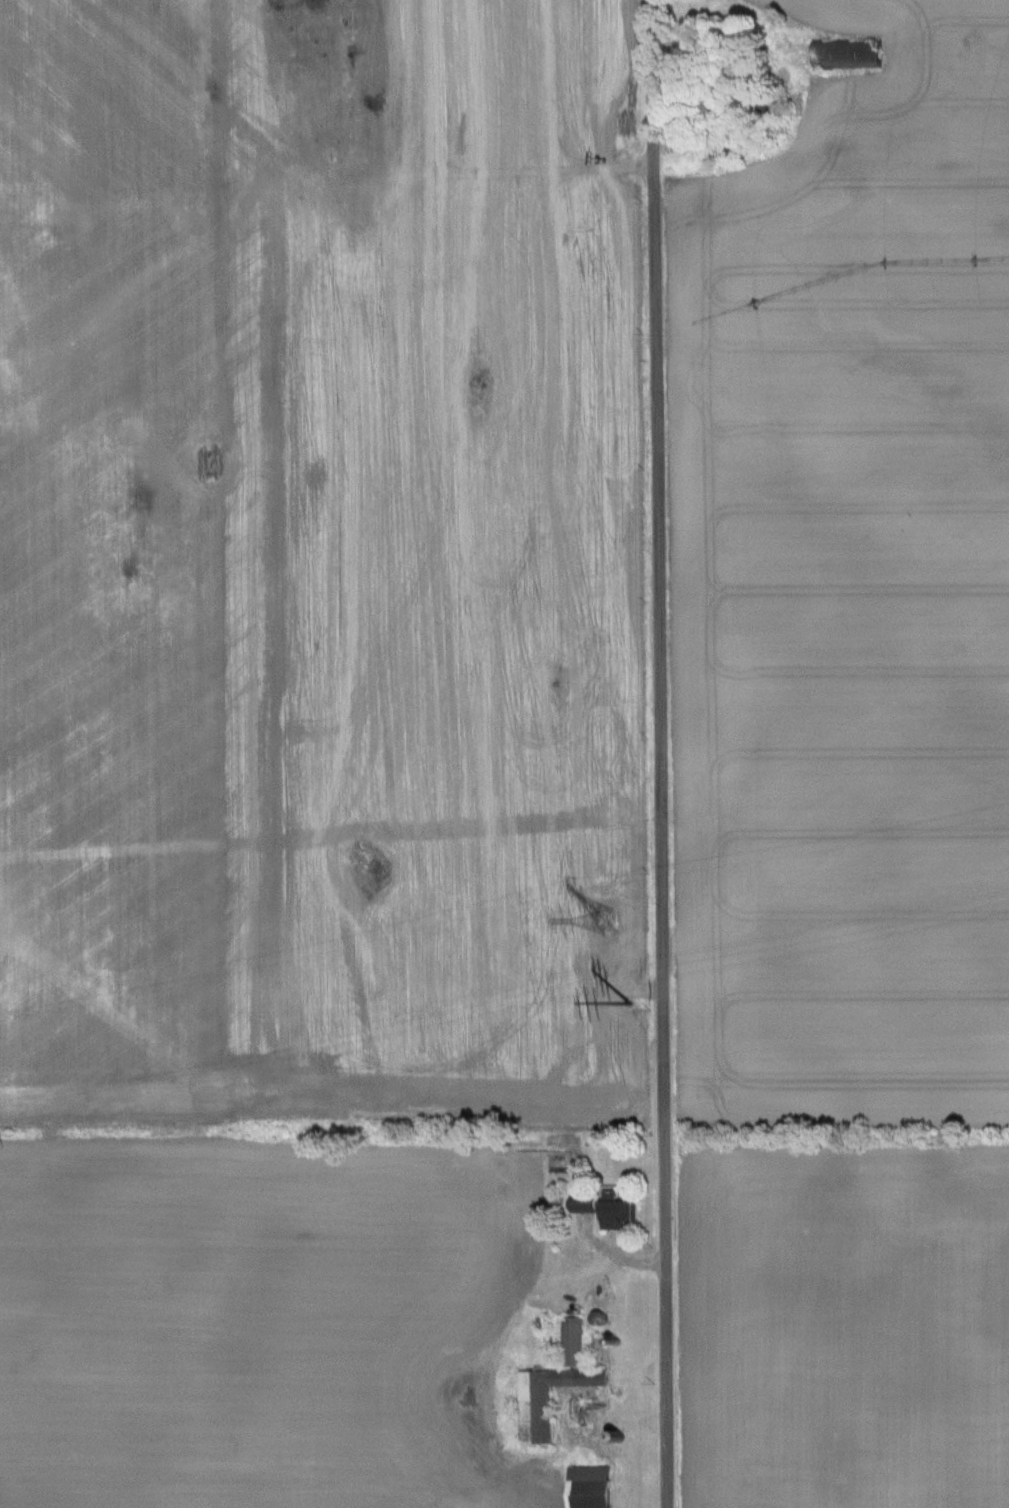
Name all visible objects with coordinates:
building: (868, 50)
building: (716, 108)
road: (660, 753)
power tower: (610, 920)
power tower: (628, 1005)
building: (609, 1208)
building: (556, 1385)
building: (591, 1487)

